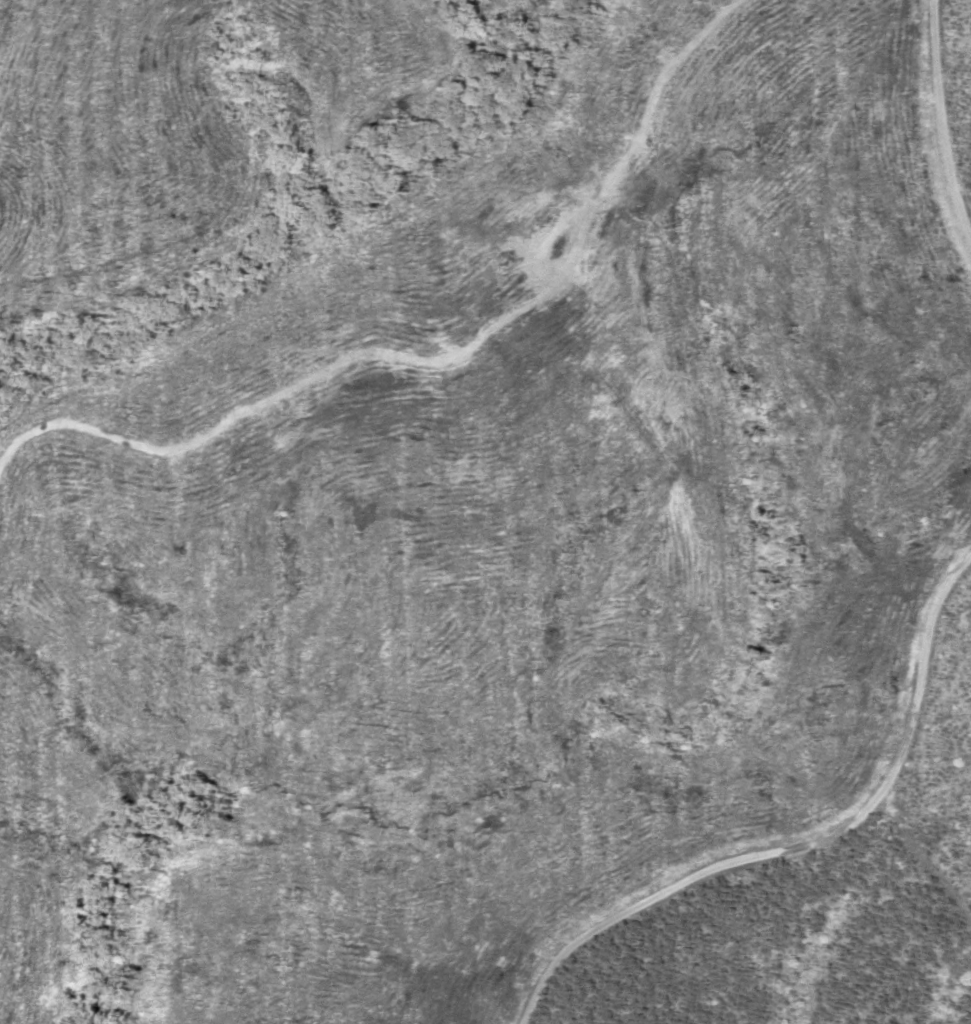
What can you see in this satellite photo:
road: (940, 114)
road: (804, 842)

